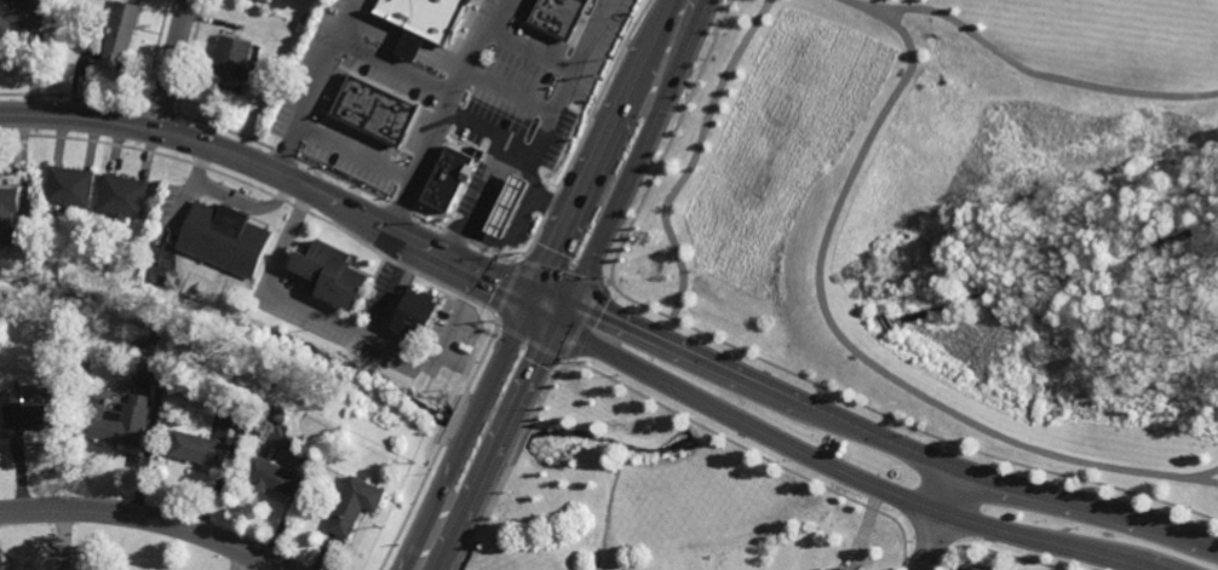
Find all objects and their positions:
building: (266, 0)
road: (868, 6)
building: (562, 11)
building: (21, 15)
building: (429, 15)
building: (122, 31)
road: (533, 53)
building: (234, 57)
road: (174, 64)
road: (431, 85)
road: (312, 99)
road: (561, 100)
building: (378, 108)
road: (671, 139)
road: (357, 150)
road: (696, 156)
road: (421, 161)
road: (275, 171)
building: (454, 171)
building: (70, 186)
road: (843, 194)
building: (123, 196)
building: (8, 203)
building: (505, 209)
park: (958, 215)
building: (18, 235)
building: (226, 237)
road: (562, 270)
building: (335, 275)
road: (536, 284)
road: (575, 287)
road: (506, 290)
traffic signals: (532, 294)
traffic signals: (568, 303)
road: (318, 312)
building: (419, 315)
traffic signals: (559, 319)
road: (585, 321)
road: (529, 340)
building: (146, 347)
road: (431, 352)
building: (427, 363)
building: (103, 401)
building: (30, 416)
road: (901, 420)
building: (121, 422)
road: (869, 433)
building: (199, 450)
road: (828, 462)
road: (1207, 472)
building: (272, 477)
building: (356, 506)
road: (148, 517)
road: (938, 519)
building: (844, 566)
building: (971, 566)

